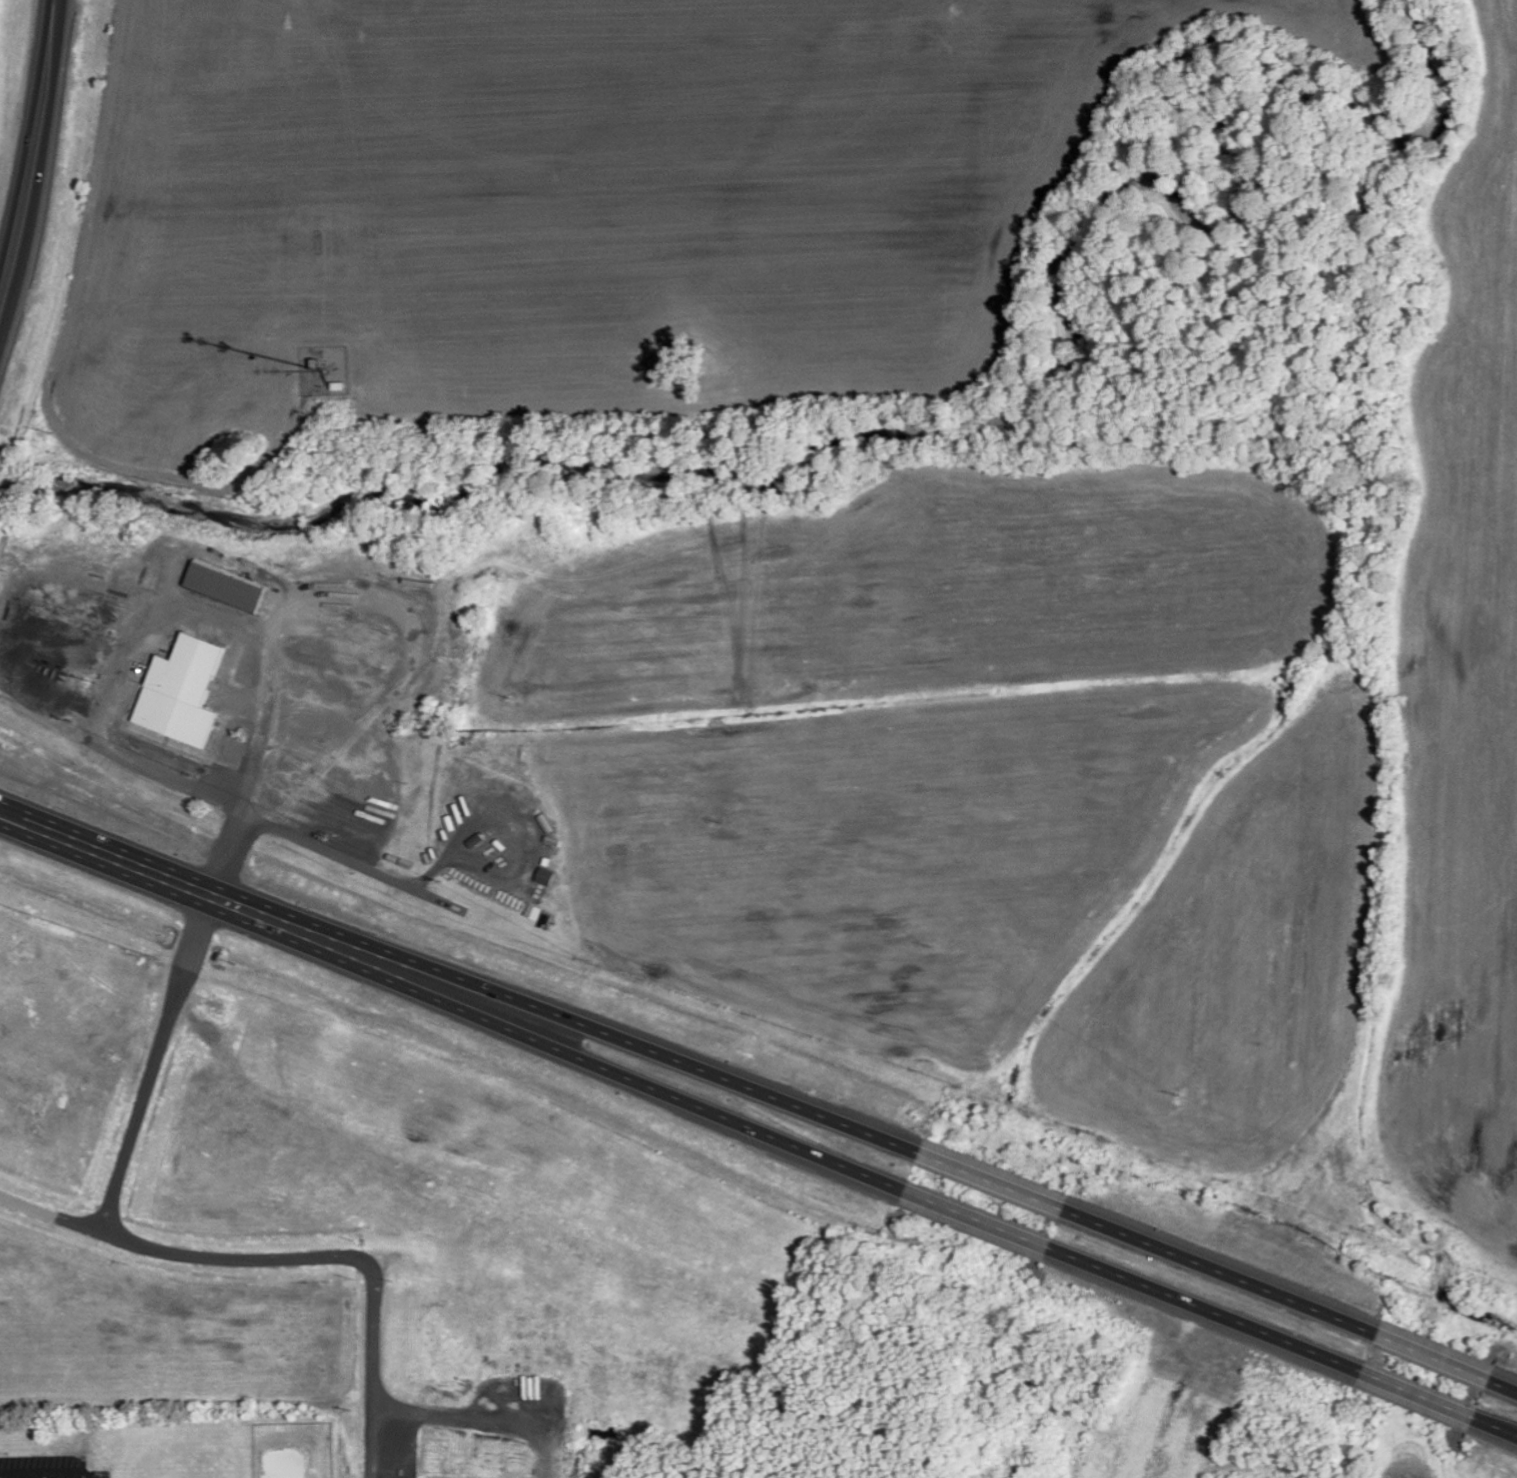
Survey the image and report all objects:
road: (38, 158)
building: (224, 588)
building: (181, 693)
road: (205, 889)
road: (670, 1055)
road: (656, 1086)
road: (996, 1182)
road: (982, 1219)
road: (1225, 1272)
road: (1211, 1312)
road: (1438, 1359)
road: (1505, 1388)
road: (1423, 1399)
road: (1498, 1430)
parking lot: (47, 1466)
road: (49, 1476)
road: (45, 1477)

